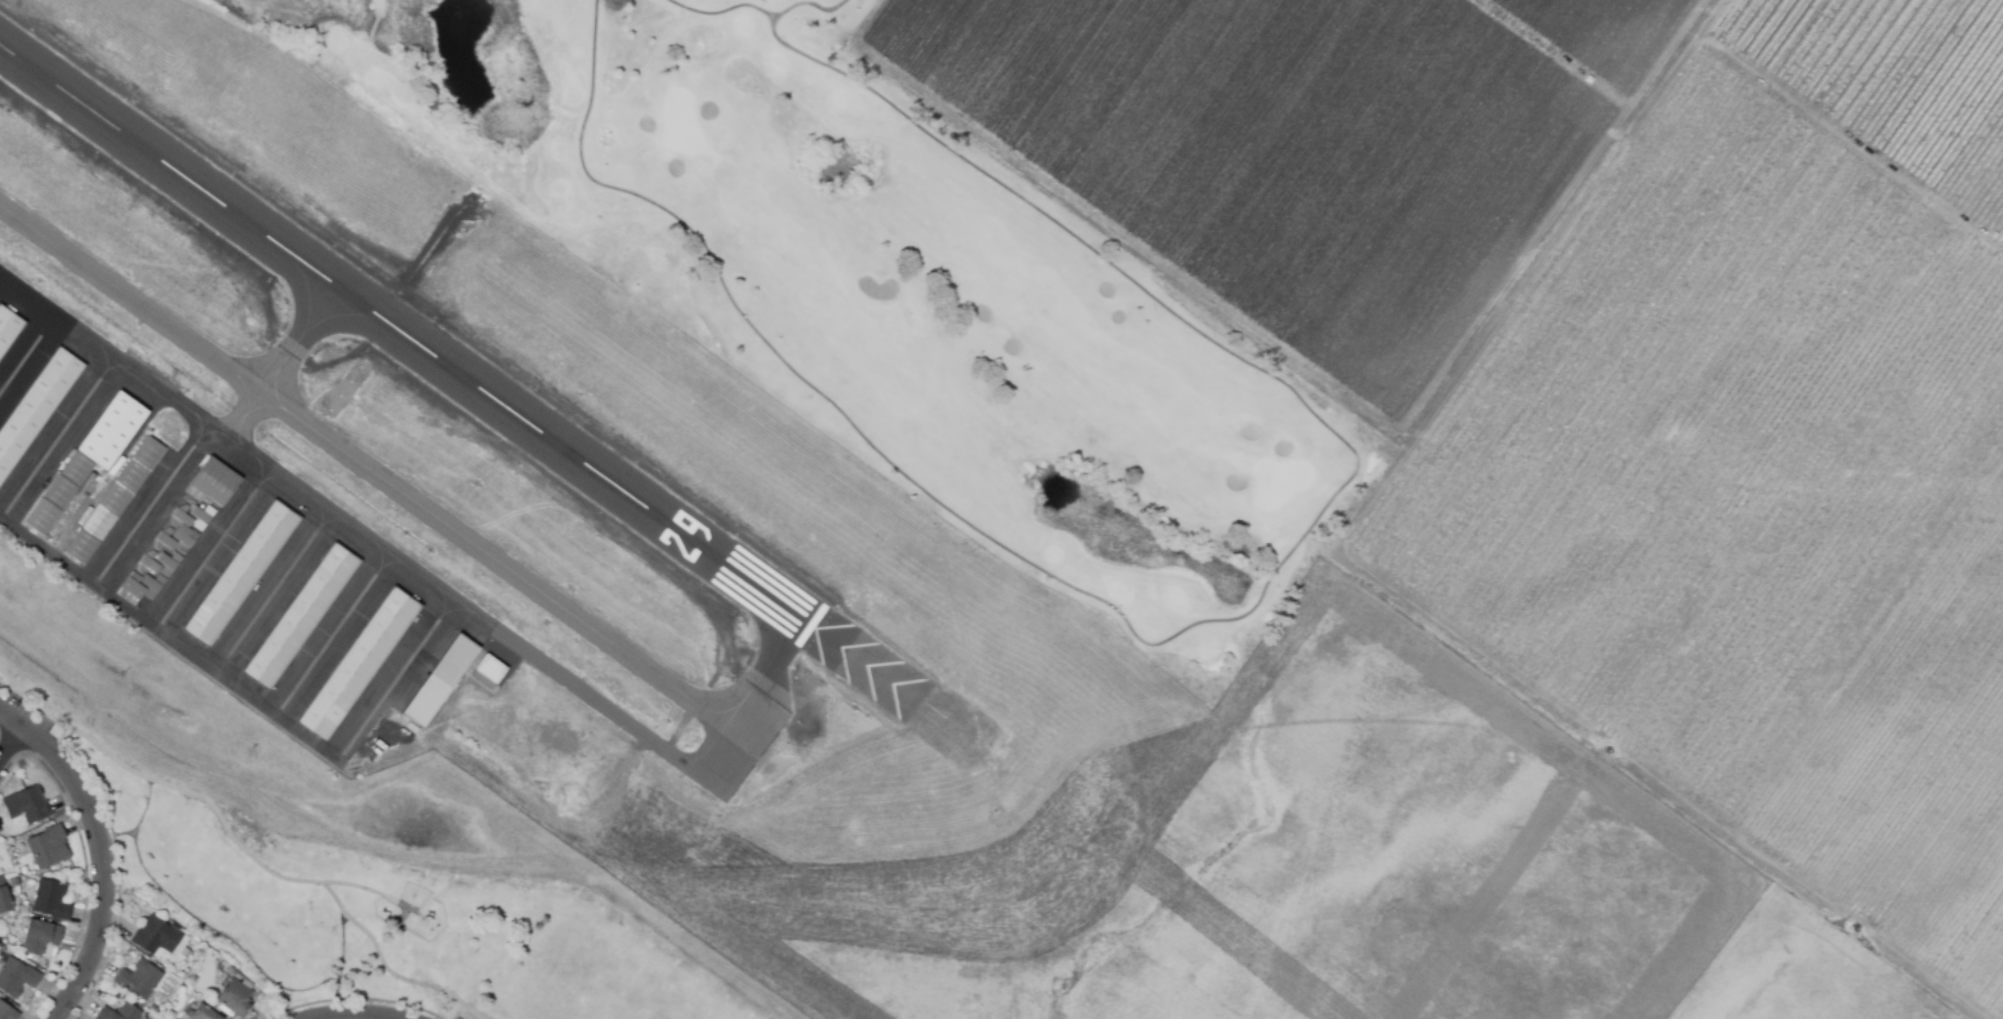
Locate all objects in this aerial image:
park: (886, 290)
airport hangar: (8, 331)
building: (8, 331)
airport taxiway: (292, 363)
airport runway: (454, 371)
airport hangar: (36, 408)
building: (36, 408)
airport hangar: (112, 431)
building: (112, 431)
airport hangar: (78, 471)
building: (78, 471)
airport hangar: (216, 483)
building: (216, 483)
airport hangar: (125, 489)
building: (125, 489)
airport hangar: (60, 493)
building: (60, 493)
airport hangar: (195, 495)
building: (195, 495)
airport taxiway: (423, 501)
airport hangar: (180, 517)
building: (180, 517)
airport hangar: (43, 518)
building: (43, 518)
airport hangar: (203, 518)
building: (203, 518)
airport hangar: (186, 540)
building: (186, 540)
airport hangar: (165, 541)
building: (165, 541)
airport hangar: (82, 549)
building: (82, 549)
airport hangar: (149, 565)
building: (149, 565)
airport hangar: (169, 565)
building: (169, 565)
airport hangar: (241, 575)
building: (241, 575)
airport hangar: (154, 587)
building: (154, 587)
airport: (638, 589)
airport hangar: (133, 591)
building: (133, 591)
airport hangar: (302, 618)
building: (302, 618)
airport hangar: (360, 666)
building: (360, 666)
airport hangar: (493, 671)
building: (493, 671)
airport hangar: (441, 682)
building: (441, 682)
road: (9, 741)
road: (163, 784)
building: (27, 805)
road: (234, 818)
road: (117, 836)
building: (46, 847)
road: (101, 852)
road: (355, 892)
building: (4, 898)
building: (52, 899)
road: (337, 902)
park: (390, 917)
road: (360, 930)
building: (37, 935)
building: (156, 936)
road: (223, 939)
building: (208, 969)
building: (16, 977)
building: (139, 980)
road: (422, 983)
building: (235, 998)
building: (7, 1012)
building: (119, 1013)
building: (202, 1013)

